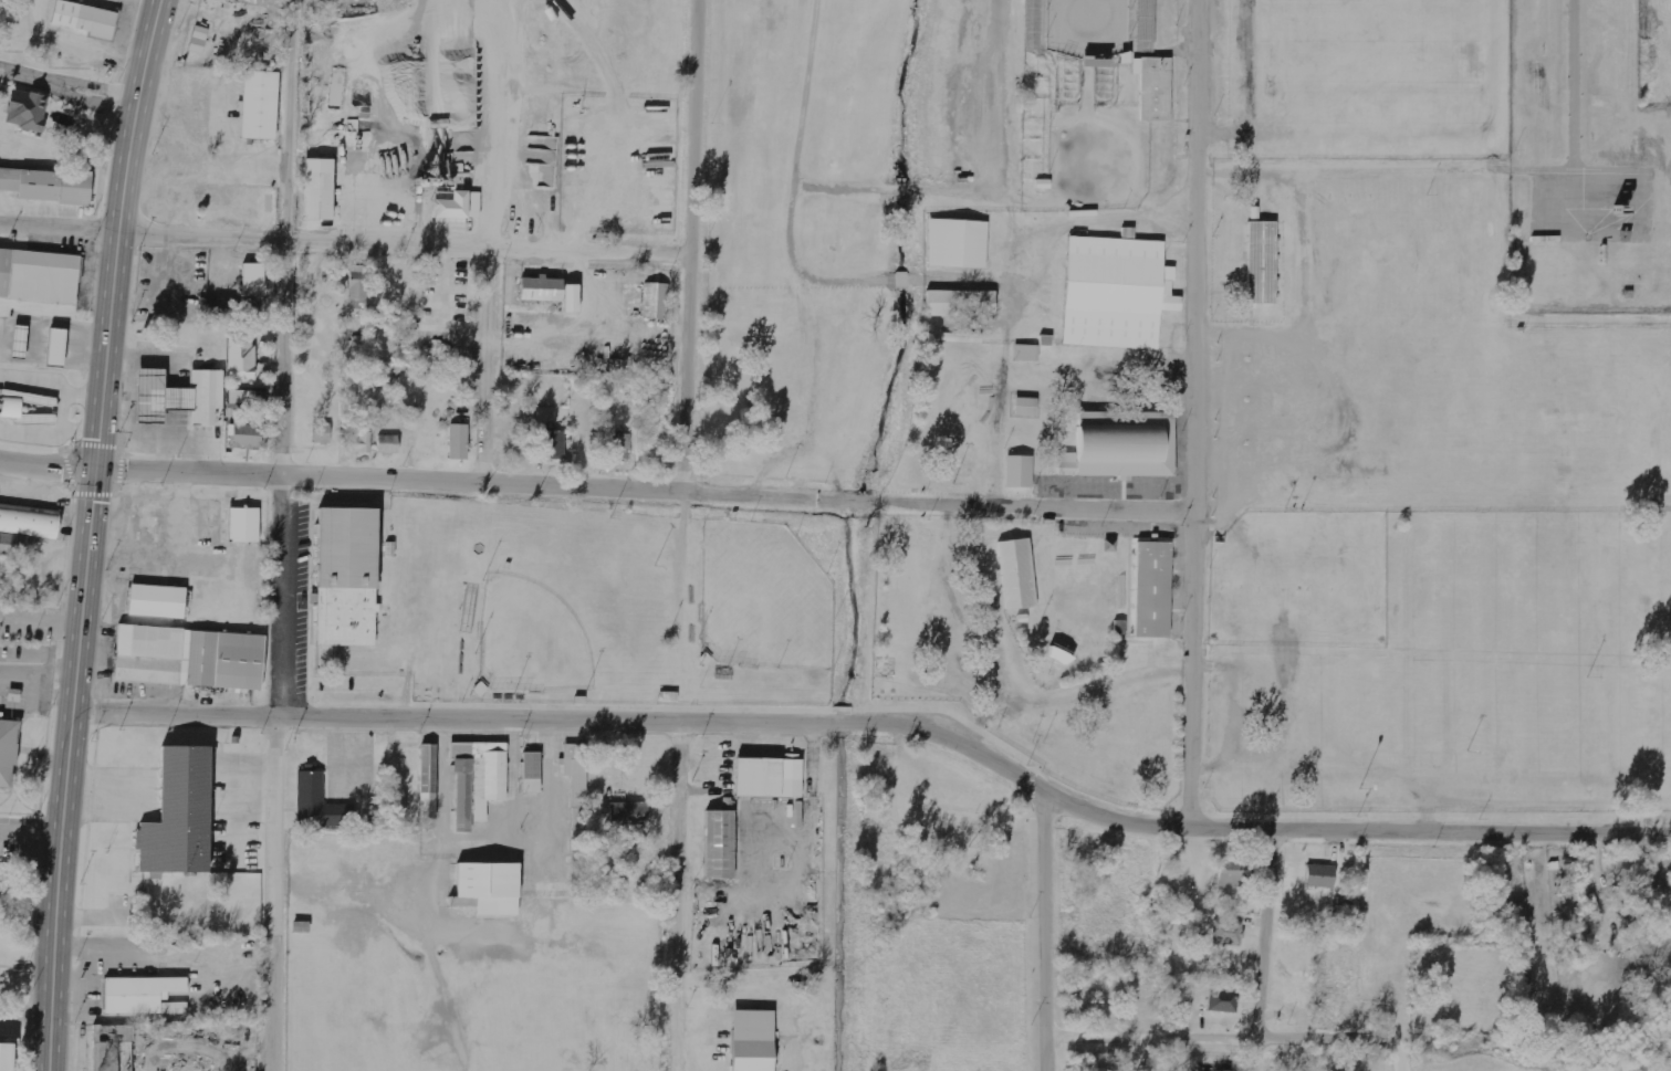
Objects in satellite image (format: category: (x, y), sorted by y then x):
building: (242, 1)
building: (83, 21)
building: (1035, 23)
building: (1139, 24)
park: (1087, 27)
building: (198, 40)
road: (69, 85)
building: (1152, 90)
building: (259, 107)
building: (25, 111)
building: (46, 187)
building: (318, 191)
building: (459, 207)
road: (60, 227)
road: (490, 240)
road: (404, 242)
building: (955, 242)
road: (689, 244)
building: (1257, 260)
building: (38, 277)
building: (253, 277)
building: (357, 287)
building: (541, 291)
building: (1115, 291)
building: (656, 302)
building: (960, 305)
building: (219, 308)
building: (250, 314)
building: (962, 338)
building: (18, 340)
building: (54, 346)
building: (1026, 354)
building: (240, 358)
road: (51, 385)
park: (1200, 389)
building: (242, 397)
building: (178, 399)
building: (1023, 409)
building: (27, 410)
road: (1198, 414)
building: (243, 432)
building: (321, 433)
building: (458, 441)
building: (362, 442)
building: (387, 444)
building: (553, 444)
building: (623, 447)
building: (1119, 447)
road: (48, 464)
traffic signals: (96, 469)
building: (1019, 471)
road: (646, 489)
building: (242, 527)
building: (24, 531)
road: (90, 533)
road: (281, 535)
building: (1015, 575)
building: (346, 578)
building: (1151, 590)
building: (157, 602)
building: (188, 659)
road: (884, 706)
road: (884, 726)
building: (7, 754)
building: (532, 773)
building: (767, 778)
building: (478, 780)
building: (429, 781)
building: (316, 805)
road: (32, 811)
building: (578, 813)
building: (178, 815)
building: (628, 816)
building: (718, 846)
building: (1232, 874)
building: (1320, 875)
building: (490, 888)
road: (682, 894)
building: (545, 905)
building: (1228, 933)
road: (1044, 934)
road: (1263, 949)
building: (138, 995)
building: (1223, 1001)
road: (1198, 1039)
building: (752, 1040)
building: (104, 1047)
building: (7, 1058)

